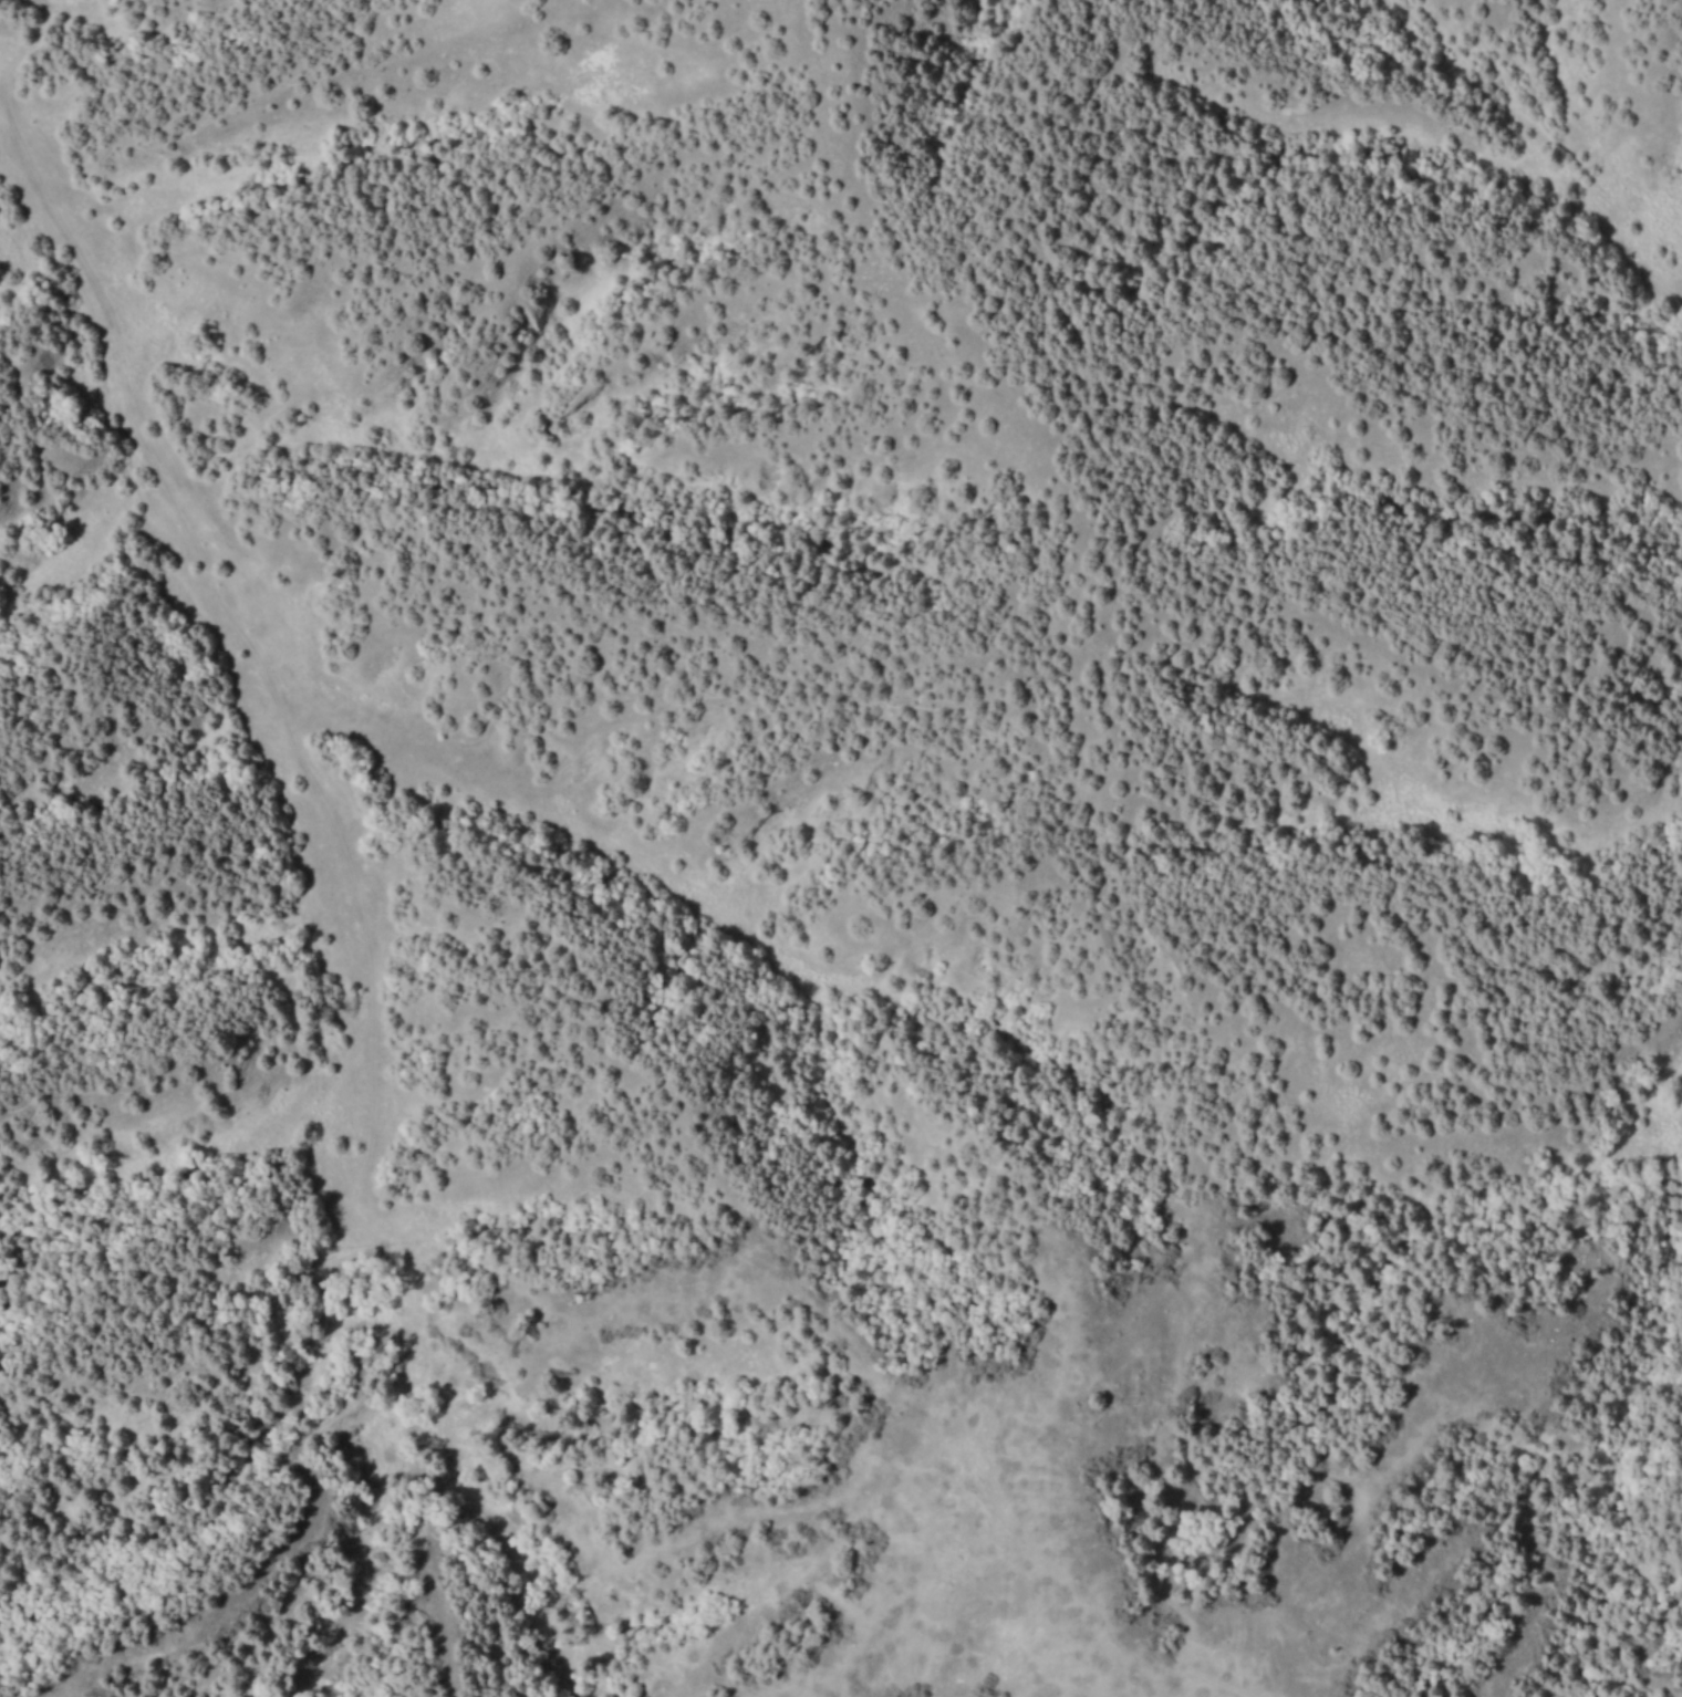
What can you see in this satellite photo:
road: (226, 598)

